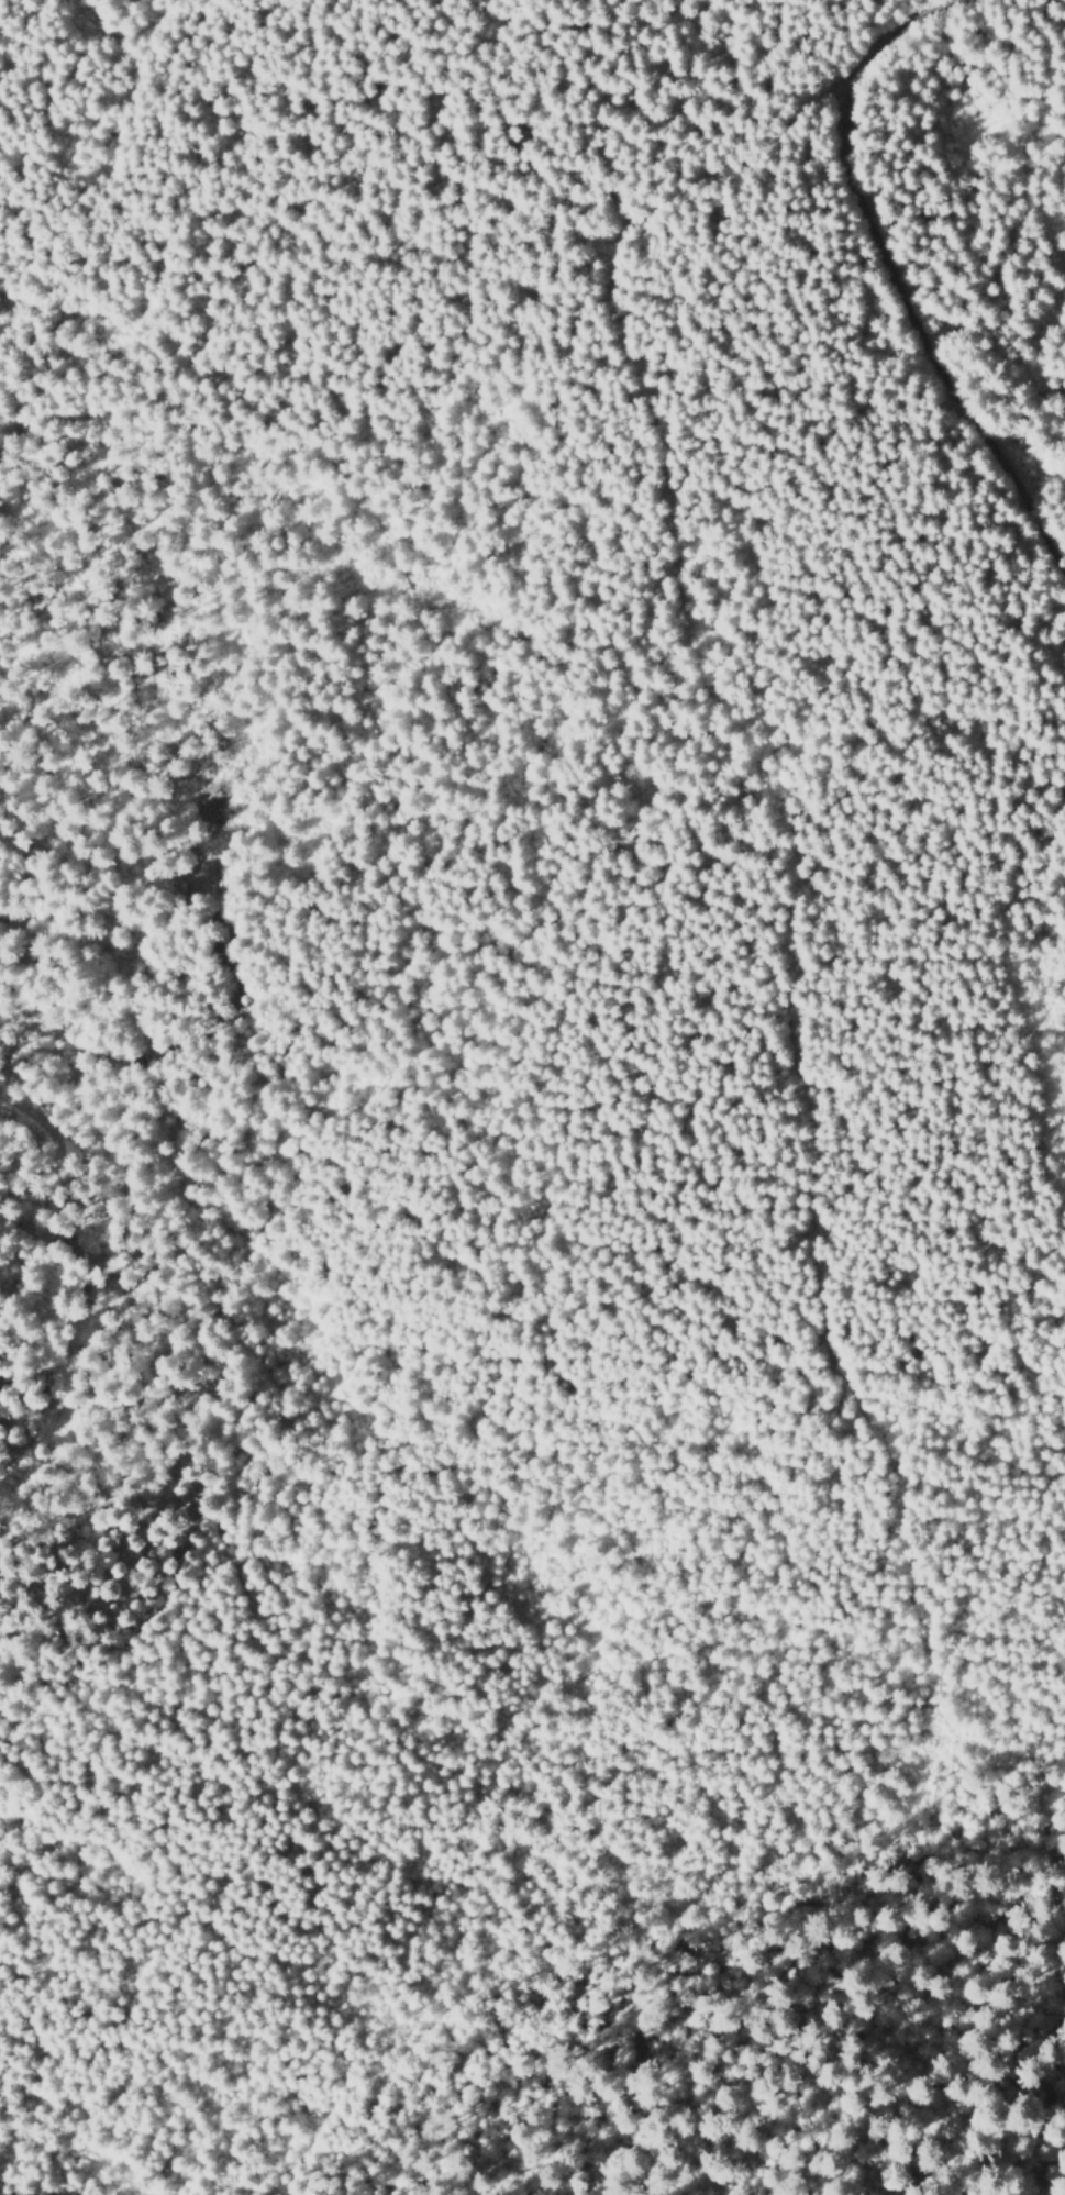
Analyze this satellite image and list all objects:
road: (890, 277)
road: (725, 710)

